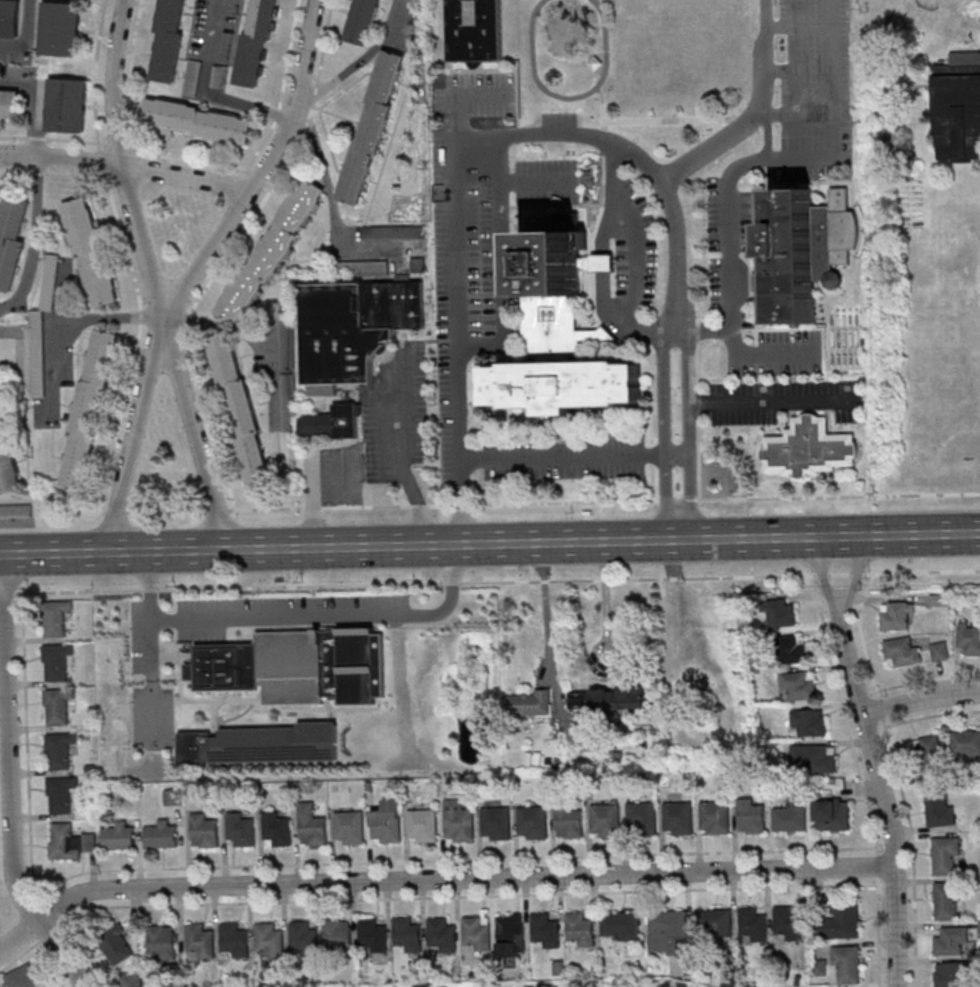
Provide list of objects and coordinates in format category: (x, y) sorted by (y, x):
park: (933, 2)
building: (10, 18)
building: (365, 21)
building: (61, 28)
building: (474, 29)
road: (25, 35)
building: (169, 40)
building: (256, 43)
road: (212, 45)
building: (678, 48)
road: (362, 58)
building: (594, 62)
building: (553, 75)
building: (219, 76)
building: (192, 78)
road: (115, 80)
road: (569, 97)
building: (10, 103)
road: (245, 103)
building: (67, 104)
road: (32, 105)
building: (958, 106)
road: (603, 111)
road: (749, 113)
road: (676, 118)
building: (198, 122)
building: (372, 128)
road: (766, 129)
road: (60, 157)
road: (449, 159)
road: (187, 173)
road: (259, 173)
road: (333, 207)
road: (729, 229)
road: (34, 238)
building: (12, 240)
road: (143, 245)
building: (272, 251)
building: (90, 253)
building: (798, 254)
road: (634, 262)
building: (554, 294)
road: (58, 316)
building: (352, 328)
road: (761, 355)
building: (563, 385)
building: (39, 390)
road: (770, 400)
building: (240, 410)
building: (90, 411)
building: (330, 423)
road: (655, 425)
road: (689, 425)
road: (666, 426)
road: (212, 427)
road: (194, 440)
road: (136, 441)
building: (810, 448)
road: (678, 451)
road: (561, 455)
road: (698, 457)
road: (401, 458)
building: (7, 459)
road: (311, 488)
road: (839, 496)
road: (443, 504)
road: (601, 509)
road: (601, 530)
road: (489, 544)
road: (921, 571)
road: (822, 574)
road: (854, 574)
road: (432, 583)
road: (604, 598)
road: (546, 603)
building: (781, 613)
building: (897, 615)
building: (57, 617)
road: (297, 617)
road: (861, 635)
building: (968, 638)
building: (794, 650)
building: (939, 650)
building: (902, 652)
building: (57, 661)
building: (298, 665)
road: (927, 679)
road: (150, 684)
building: (799, 687)
building: (608, 700)
road: (922, 701)
building: (58, 705)
building: (527, 705)
road: (880, 709)
road: (843, 714)
road: (932, 715)
building: (808, 722)
building: (262, 744)
building: (930, 744)
building: (966, 744)
building: (60, 749)
building: (813, 757)
road: (10, 781)
building: (61, 794)
building: (173, 796)
road: (886, 796)
building: (940, 809)
building: (832, 814)
building: (750, 817)
building: (642, 818)
building: (791, 818)
building: (678, 819)
building: (715, 819)
building: (605, 821)
building: (387, 822)
building: (458, 822)
building: (532, 823)
building: (569, 823)
building: (496, 824)
building: (312, 825)
building: (423, 825)
building: (349, 827)
building: (276, 829)
building: (240, 830)
building: (204, 831)
building: (161, 835)
building: (120, 836)
building: (69, 841)
road: (912, 851)
building: (945, 854)
road: (303, 864)
road: (877, 865)
road: (439, 878)
road: (427, 897)
building: (946, 901)
building: (841, 921)
building: (714, 923)
building: (787, 923)
building: (620, 925)
building: (752, 925)
building: (579, 929)
building: (546, 931)
road: (878, 931)
building: (668, 932)
building: (476, 934)
building: (338, 935)
building: (407, 935)
road: (76, 936)
building: (373, 936)
building: (442, 936)
building: (510, 937)
building: (304, 939)
building: (235, 940)
building: (951, 941)
building: (162, 942)
building: (200, 942)
building: (269, 942)
building: (116, 945)
building: (847, 962)
road: (50, 965)
building: (819, 967)
building: (951, 974)
building: (23, 977)
building: (132, 980)

